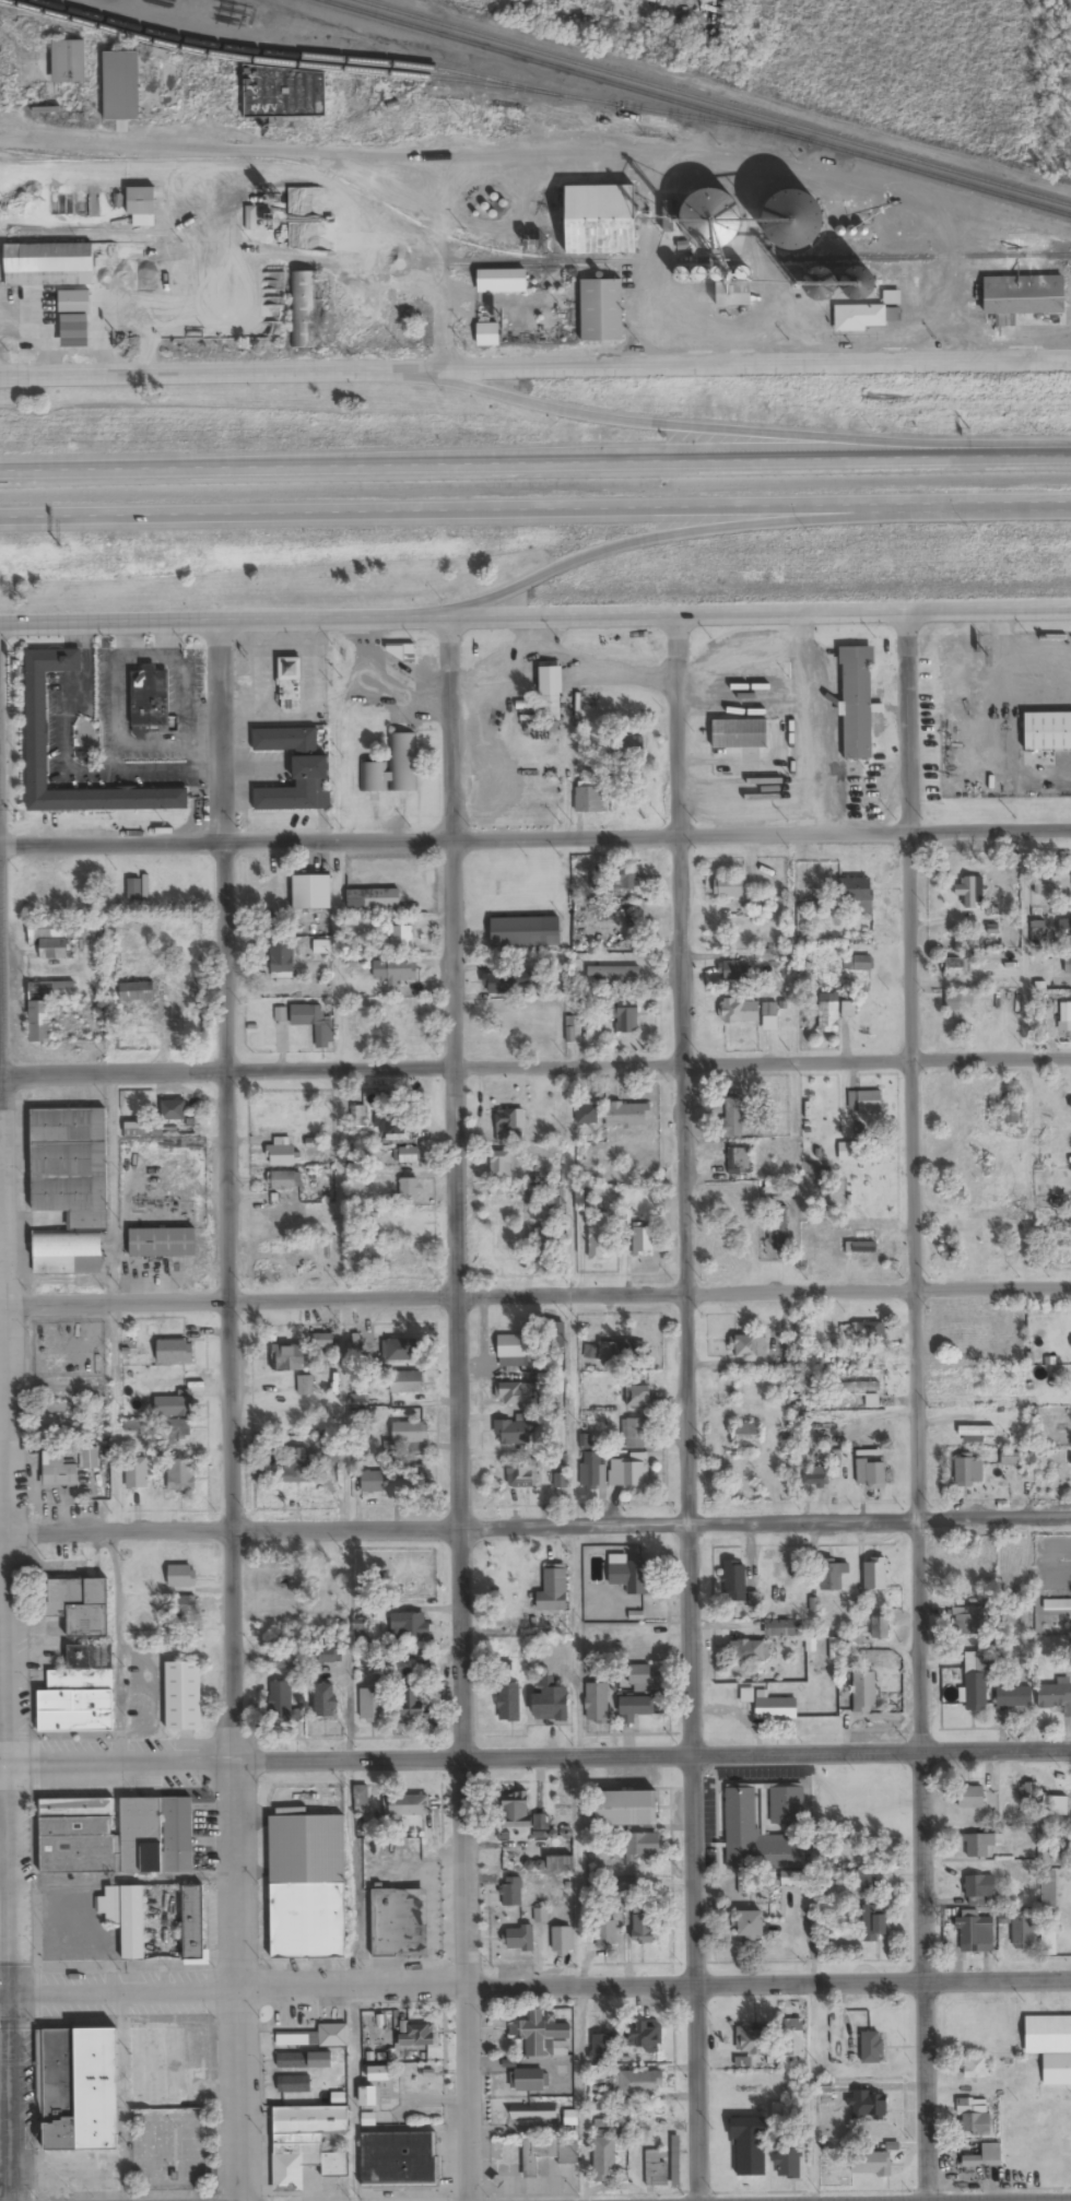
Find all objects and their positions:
building: (607, 7)
building: (692, 20)
building: (68, 61)
railway: (263, 61)
railway: (399, 67)
building: (120, 86)
railway: (713, 102)
railway: (693, 109)
road: (695, 160)
road: (219, 179)
building: (141, 207)
building: (601, 221)
building: (793, 222)
building: (716, 223)
building: (148, 251)
railway: (553, 263)
building: (48, 266)
road: (443, 268)
building: (142, 275)
building: (502, 282)
building: (824, 286)
building: (733, 294)
building: (68, 303)
building: (304, 310)
building: (601, 311)
building: (859, 318)
building: (74, 331)
building: (487, 336)
road: (761, 364)
road: (224, 368)
road: (737, 434)
road: (1052, 457)
road: (516, 461)
road: (998, 503)
road: (462, 511)
road: (678, 534)
road: (757, 613)
road: (222, 622)
building: (952, 654)
building: (290, 684)
building: (549, 696)
building: (146, 704)
building: (856, 704)
building: (36, 730)
building: (1047, 732)
building: (739, 734)
building: (627, 748)
building: (392, 768)
building: (295, 769)
building: (588, 801)
road: (534, 835)
building: (625, 880)
building: (728, 887)
building: (133, 891)
building: (855, 891)
building: (970, 892)
building: (311, 893)
building: (374, 899)
building: (1064, 928)
building: (525, 933)
building: (401, 940)
building: (56, 941)
building: (321, 948)
building: (857, 963)
building: (1068, 965)
building: (954, 967)
building: (281, 968)
building: (401, 972)
building: (735, 972)
building: (614, 974)
building: (504, 982)
building: (137, 992)
building: (44, 1008)
building: (965, 1009)
building: (739, 1012)
building: (769, 1017)
building: (828, 1017)
building: (626, 1019)
building: (313, 1024)
road: (535, 1069)
building: (864, 1103)
building: (173, 1109)
building: (587, 1114)
building: (627, 1115)
building: (732, 1117)
building: (505, 1123)
building: (389, 1125)
building: (408, 1155)
building: (282, 1156)
building: (738, 1161)
building: (499, 1164)
building: (284, 1180)
building: (69, 1189)
building: (410, 1189)
building: (951, 1191)
building: (292, 1222)
building: (777, 1228)
building: (598, 1238)
building: (642, 1240)
building: (505, 1241)
building: (162, 1243)
building: (860, 1247)
building: (949, 1250)
building: (284, 1255)
building: (404, 1258)
road: (534, 1295)
building: (866, 1330)
building: (978, 1333)
building: (555, 1335)
building: (750, 1346)
building: (628, 1350)
building: (175, 1351)
building: (399, 1351)
building: (514, 1351)
building: (873, 1356)
building: (289, 1358)
building: (177, 1382)
building: (405, 1382)
building: (305, 1386)
building: (968, 1386)
building: (862, 1392)
building: (128, 1394)
building: (515, 1394)
building: (635, 1397)
building: (170, 1406)
road: (906, 1406)
road: (681, 1408)
road: (455, 1409)
road: (232, 1412)
building: (514, 1431)
building: (633, 1433)
building: (975, 1433)
building: (176, 1434)
building: (746, 1434)
building: (410, 1435)
building: (59, 1462)
building: (296, 1466)
building: (591, 1470)
building: (631, 1471)
building: (968, 1471)
building: (137, 1472)
building: (520, 1473)
building: (871, 1474)
building: (180, 1475)
building: (815, 1476)
building: (372, 1482)
road: (534, 1523)
building: (965, 1564)
building: (832, 1574)
building: (874, 1574)
building: (631, 1575)
building: (779, 1576)
building: (181, 1577)
building: (734, 1580)
building: (553, 1590)
building: (79, 1604)
building: (1057, 1604)
building: (965, 1621)
building: (409, 1627)
building: (880, 1627)
building: (774, 1628)
building: (749, 1651)
building: (327, 1655)
building: (285, 1658)
building: (642, 1678)
building: (975, 1681)
building: (863, 1692)
building: (79, 1693)
building: (1056, 1694)
building: (183, 1696)
building: (1013, 1697)
building: (551, 1702)
building: (280, 1703)
building: (325, 1703)
building: (411, 1703)
building: (508, 1703)
building: (597, 1703)
building: (373, 1706)
building: (636, 1706)
building: (776, 1708)
road: (4, 1753)
road: (535, 1758)
building: (1029, 1791)
building: (970, 1798)
building: (787, 1804)
building: (1055, 1805)
building: (404, 1808)
building: (515, 1809)
building: (626, 1809)
building: (539, 1822)
building: (74, 1834)
building: (154, 1834)
building: (756, 1836)
building: (643, 1845)
building: (981, 1845)
building: (1063, 1851)
building: (305, 1885)
building: (628, 1886)
building: (979, 1886)
building: (511, 1892)
building: (1048, 1892)
building: (126, 1917)
building: (874, 1921)
building: (399, 1922)
building: (192, 1923)
building: (750, 1923)
building: (643, 1929)
building: (974, 1929)
building: (1023, 1933)
building: (605, 1934)
building: (519, 1939)
building: (562, 1940)
building: (1048, 1941)
road: (534, 1986)
building: (535, 2034)
building: (644, 2034)
building: (1045, 2034)
building: (417, 2036)
building: (308, 2037)
building: (793, 2037)
building: (754, 2039)
building: (871, 2047)
building: (599, 2048)
building: (303, 2060)
building: (163, 2065)
building: (976, 2068)
building: (1055, 2068)
building: (598, 2074)
building: (531, 2080)
building: (637, 2083)
building: (294, 2084)
building: (370, 2095)
building: (339, 2098)
building: (869, 2105)
building: (80, 2110)
building: (532, 2111)
building: (972, 2115)
building: (569, 2118)
building: (785, 2140)
building: (743, 2145)
building: (163, 2149)
building: (309, 2150)
building: (978, 2155)
building: (537, 2156)
building: (603, 2157)
building: (399, 2159)
building: (674, 2159)
building: (868, 2164)
building: (655, 2167)

